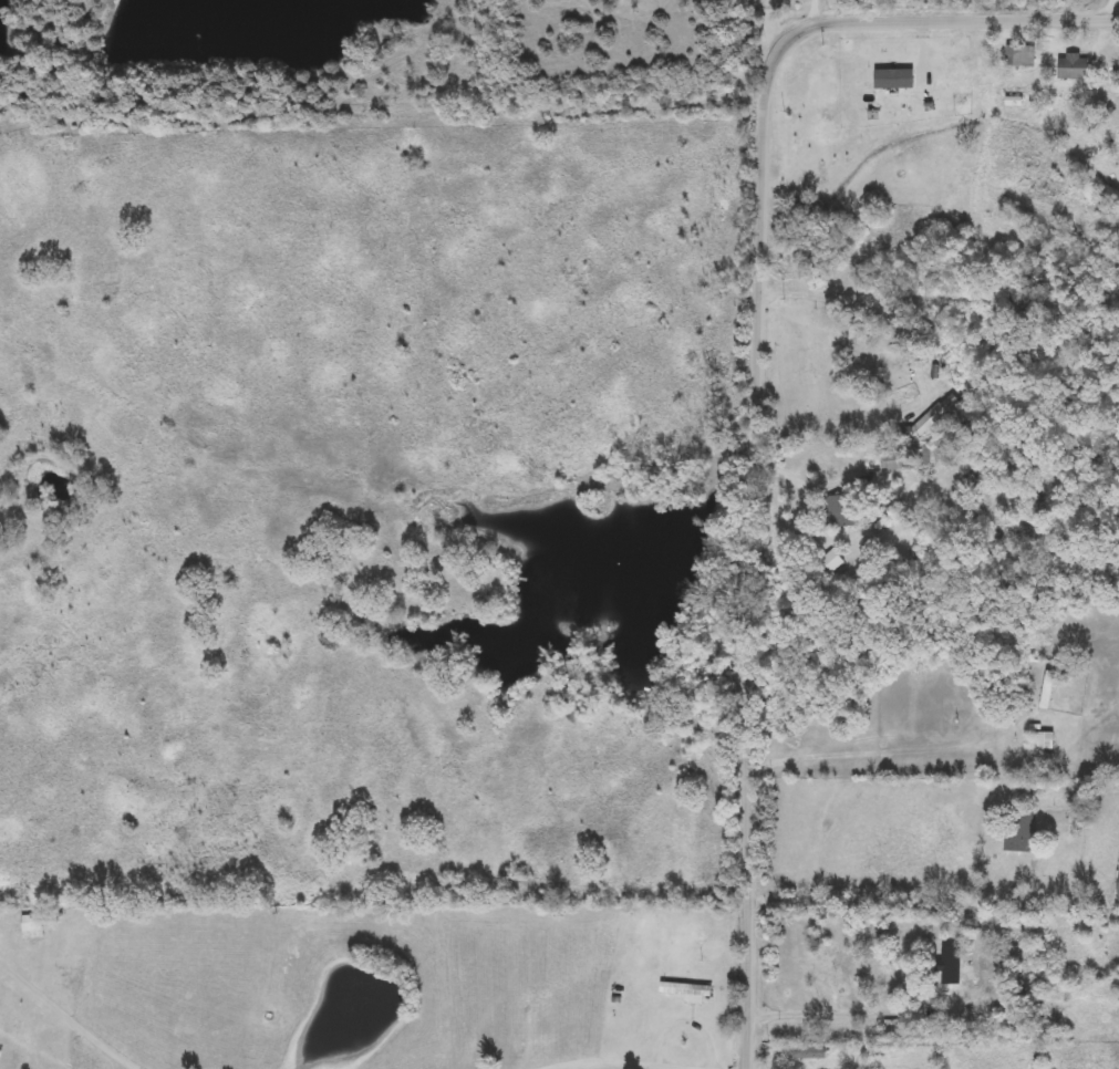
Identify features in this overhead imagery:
road: (1109, 8)
road: (815, 11)
road: (774, 22)
building: (1020, 56)
building: (1074, 68)
road: (842, 297)
road: (763, 382)
building: (935, 455)
building: (883, 461)
road: (810, 479)
building: (840, 510)
building: (1047, 689)
building: (1045, 741)
road: (847, 758)
building: (1018, 831)
building: (1118, 883)
road: (862, 899)
building: (33, 926)
building: (850, 972)
building: (962, 975)
building: (687, 992)
road: (71, 1013)
road: (801, 1015)
building: (809, 1052)
road: (624, 1059)

